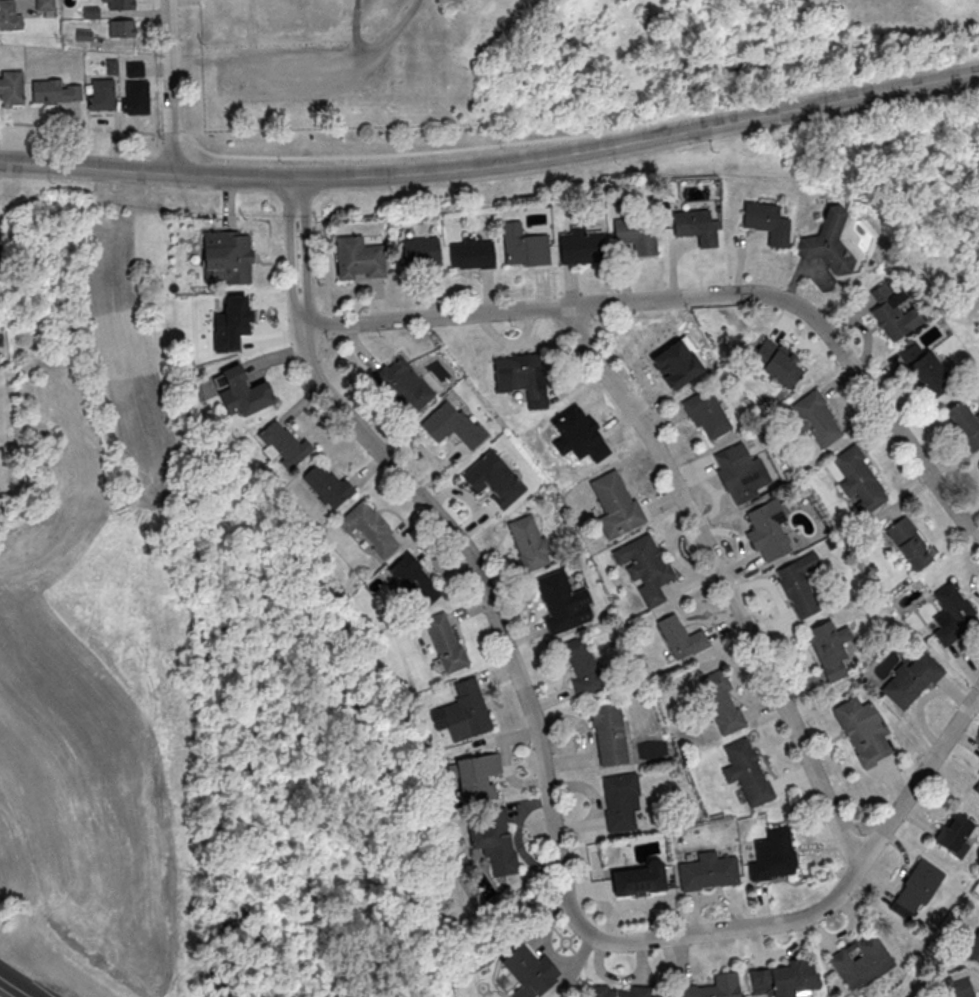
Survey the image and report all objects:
building: (118, 4)
building: (45, 7)
building: (9, 16)
building: (122, 28)
road: (356, 30)
park: (537, 54)
building: (134, 68)
road: (332, 68)
parking lot: (283, 73)
road: (155, 77)
road: (168, 87)
building: (11, 88)
building: (46, 91)
building: (99, 94)
building: (135, 97)
road: (81, 128)
road: (172, 134)
road: (580, 135)
park: (927, 153)
road: (159, 164)
road: (493, 165)
road: (158, 179)
building: (767, 222)
building: (696, 226)
building: (638, 235)
building: (826, 242)
building: (525, 246)
building: (582, 246)
road: (289, 254)
road: (306, 254)
building: (472, 254)
building: (421, 255)
building: (227, 256)
building: (359, 258)
road: (699, 297)
building: (893, 313)
building: (232, 322)
building: (776, 361)
building: (679, 363)
building: (923, 368)
building: (523, 377)
building: (403, 385)
building: (244, 392)
building: (707, 414)
building: (817, 418)
building: (964, 423)
building: (452, 424)
road: (144, 430)
building: (574, 435)
building: (282, 445)
building: (742, 474)
building: (494, 478)
building: (859, 480)
building: (325, 485)
building: (617, 506)
building: (370, 528)
building: (769, 528)
building: (529, 542)
building: (909, 542)
building: (647, 567)
building: (414, 580)
road: (721, 580)
building: (799, 584)
building: (563, 602)
building: (952, 613)
park: (99, 616)
building: (680, 637)
building: (443, 642)
building: (830, 648)
building: (581, 666)
building: (911, 679)
building: (722, 701)
building: (465, 711)
building: (862, 732)
building: (608, 734)
park: (309, 764)
building: (747, 772)
building: (476, 776)
building: (975, 786)
building: (620, 802)
building: (495, 841)
road: (556, 852)
building: (774, 856)
building: (708, 871)
building: (636, 879)
building: (915, 889)
building: (974, 948)
building: (861, 961)
building: (528, 971)
building: (784, 978)
park: (25, 980)
building: (956, 984)
building: (713, 987)
road: (13, 988)
building: (617, 991)

